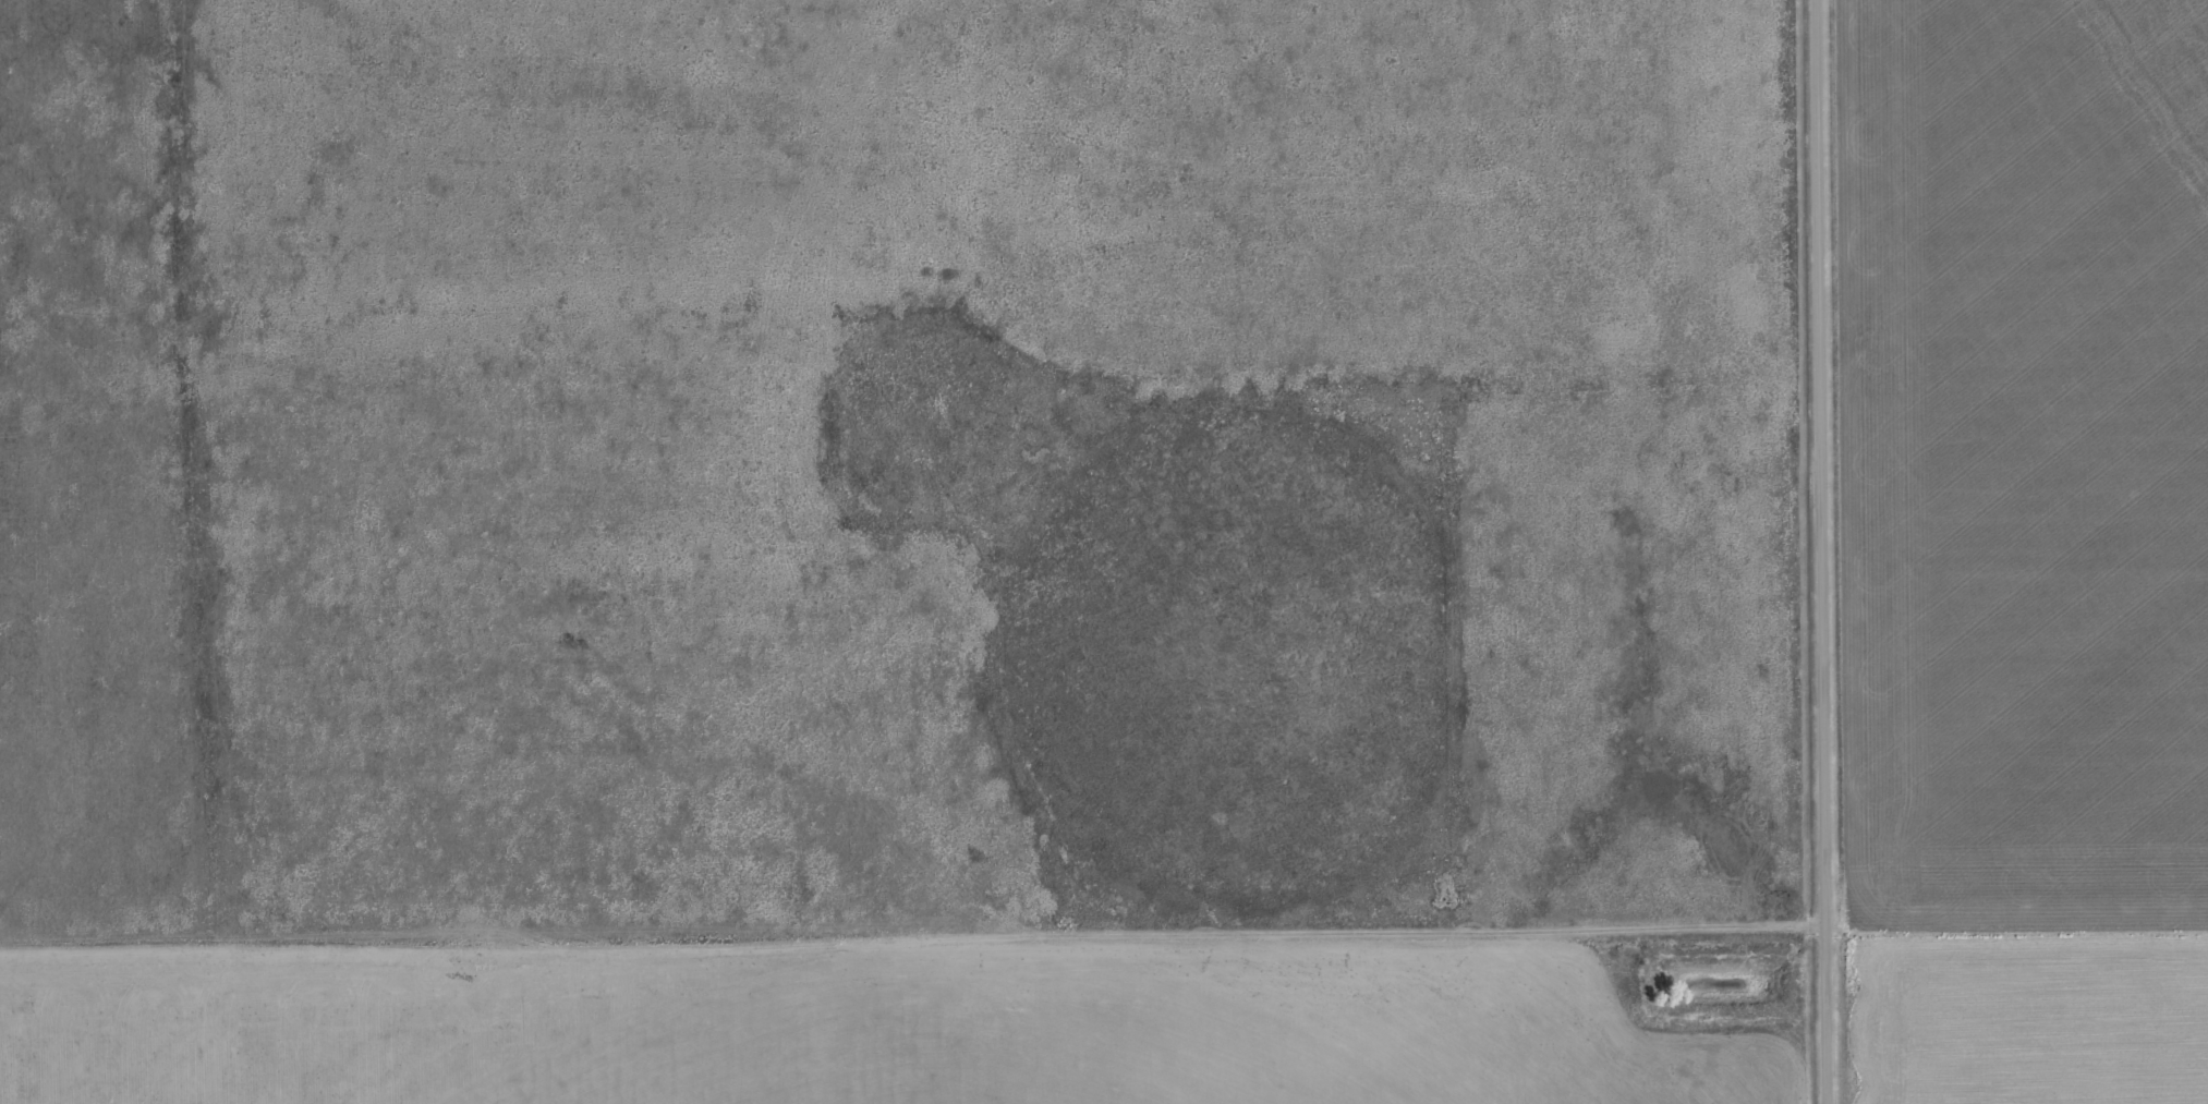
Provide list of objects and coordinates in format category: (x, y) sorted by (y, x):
road: (1821, 551)

